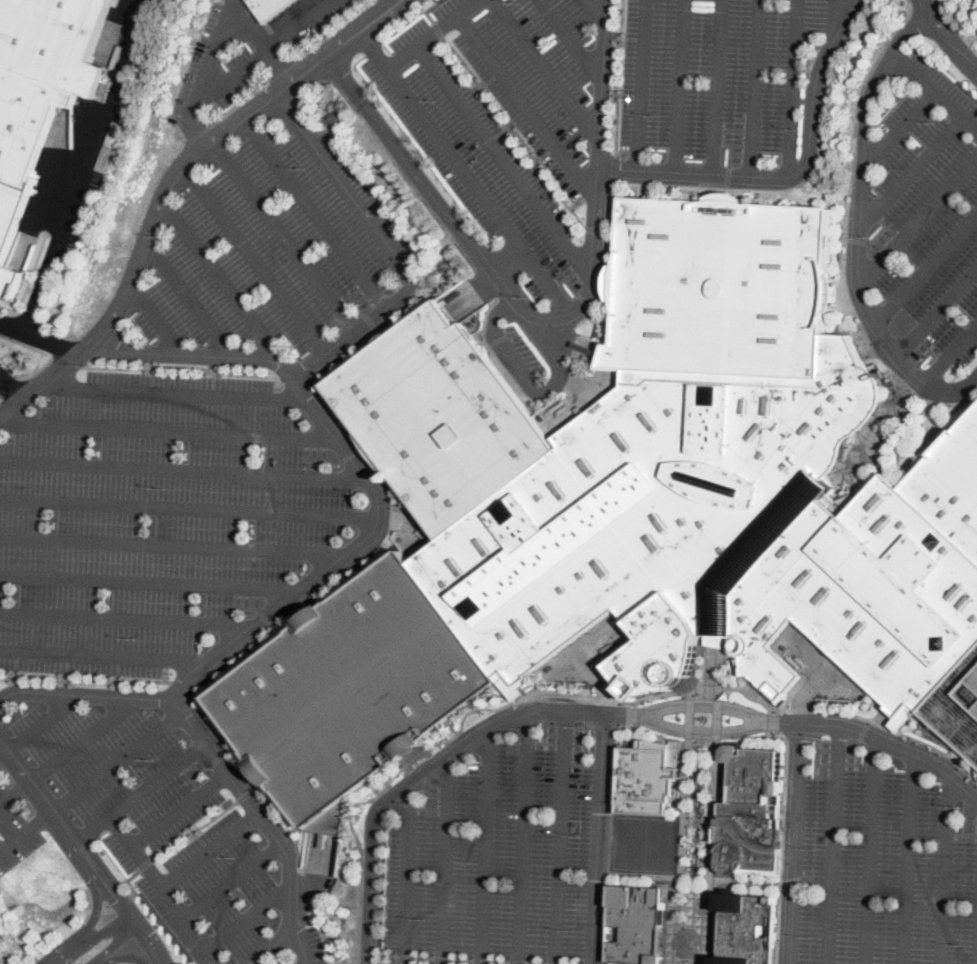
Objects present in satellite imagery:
building: (269, 7)
road: (427, 10)
road: (595, 11)
road: (831, 20)
road: (438, 29)
road: (430, 34)
road: (946, 37)
building: (53, 39)
road: (571, 39)
road: (260, 41)
road: (214, 45)
road: (267, 46)
road: (545, 70)
parking lot: (718, 73)
road: (614, 77)
road: (641, 86)
road: (677, 87)
road: (716, 88)
road: (793, 88)
road: (757, 89)
road: (305, 91)
road: (933, 92)
road: (525, 107)
road: (196, 112)
road: (854, 129)
road: (896, 129)
road: (516, 131)
parking lot: (472, 149)
building: (21, 151)
road: (502, 159)
road: (85, 168)
road: (462, 169)
road: (614, 172)
road: (908, 172)
road: (338, 176)
road: (791, 176)
parking lot: (90, 177)
road: (168, 185)
road: (733, 188)
road: (316, 213)
parking lot: (930, 214)
road: (917, 218)
road: (857, 226)
road: (598, 230)
road: (285, 237)
parking lot: (274, 246)
road: (258, 260)
road: (925, 265)
road: (29, 278)
road: (220, 278)
road: (189, 301)
road: (936, 309)
road: (542, 317)
road: (155, 318)
road: (369, 329)
road: (36, 340)
road: (558, 348)
road: (949, 352)
road: (512, 353)
road: (66, 360)
road: (184, 365)
road: (34, 371)
road: (298, 382)
road: (178, 391)
road: (169, 430)
road: (185, 469)
road: (189, 508)
building: (630, 513)
parking lot: (154, 519)
road: (176, 546)
road: (154, 583)
road: (303, 595)
road: (131, 618)
building: (714, 641)
road: (106, 656)
road: (85, 682)
building: (513, 685)
road: (180, 687)
road: (84, 694)
road: (691, 706)
road: (614, 714)
building: (908, 718)
road: (41, 723)
road: (689, 729)
road: (864, 730)
road: (904, 732)
road: (874, 739)
road: (80, 742)
road: (2, 754)
road: (117, 763)
building: (647, 777)
road: (422, 782)
road: (139, 792)
road: (13, 794)
building: (750, 815)
road: (165, 822)
parking lot: (161, 823)
road: (287, 827)
road: (193, 828)
road: (63, 829)
parking lot: (16, 831)
road: (25, 833)
road: (559, 837)
road: (522, 838)
road: (597, 838)
park: (645, 842)
road: (794, 843)
road: (832, 845)
road: (483, 848)
road: (361, 850)
road: (869, 851)
parking lot: (497, 854)
road: (906, 859)
road: (145, 863)
road: (442, 863)
road: (190, 864)
parking lot: (885, 866)
road: (947, 871)
road: (406, 878)
road: (127, 880)
road: (233, 880)
road: (307, 887)
road: (95, 899)
road: (122, 901)
road: (101, 909)
road: (250, 915)
road: (36, 917)
road: (132, 918)
road: (192, 924)
building: (638, 924)
road: (107, 925)
building: (746, 928)
road: (321, 933)
road: (116, 942)
road: (300, 942)
road: (151, 943)
parking lot: (314, 944)
road: (70, 951)
road: (122, 956)
road: (470, 959)
road: (4, 961)
road: (91, 961)

